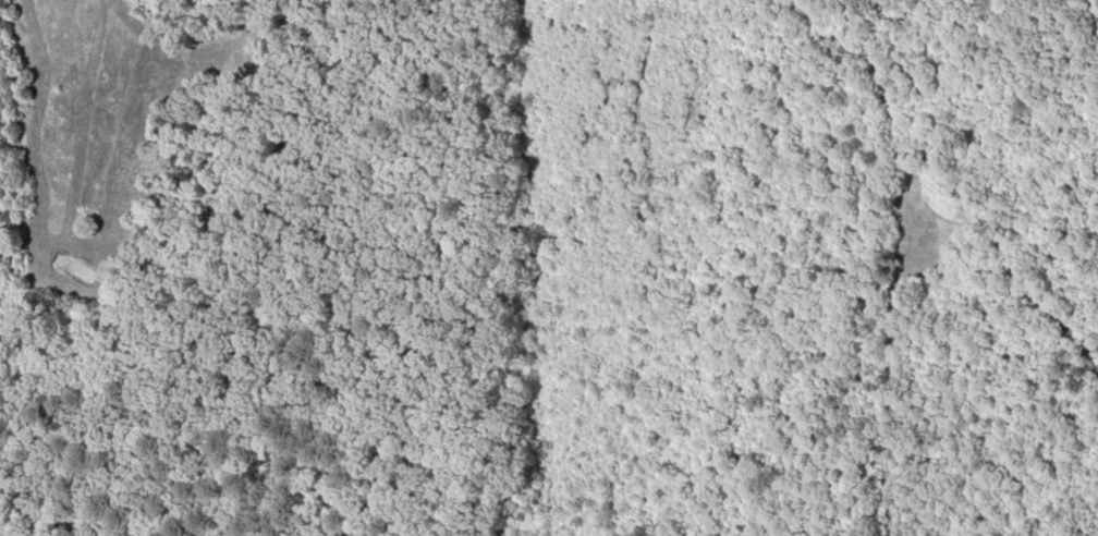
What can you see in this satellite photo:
road: (879, 265)

